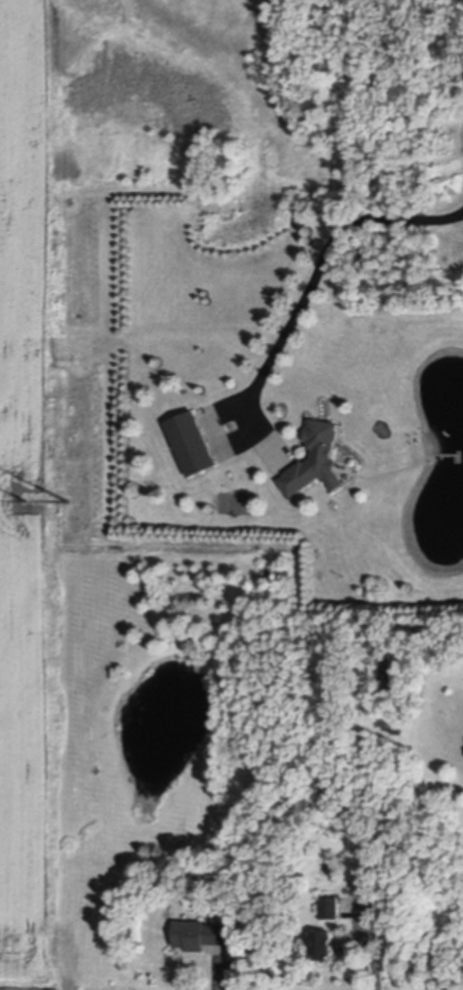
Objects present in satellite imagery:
road: (324, 274)
building: (192, 437)
building: (316, 454)
power tower: (69, 500)
power tower: (22, 502)
building: (330, 905)
building: (200, 932)
building: (321, 941)
road: (368, 946)

